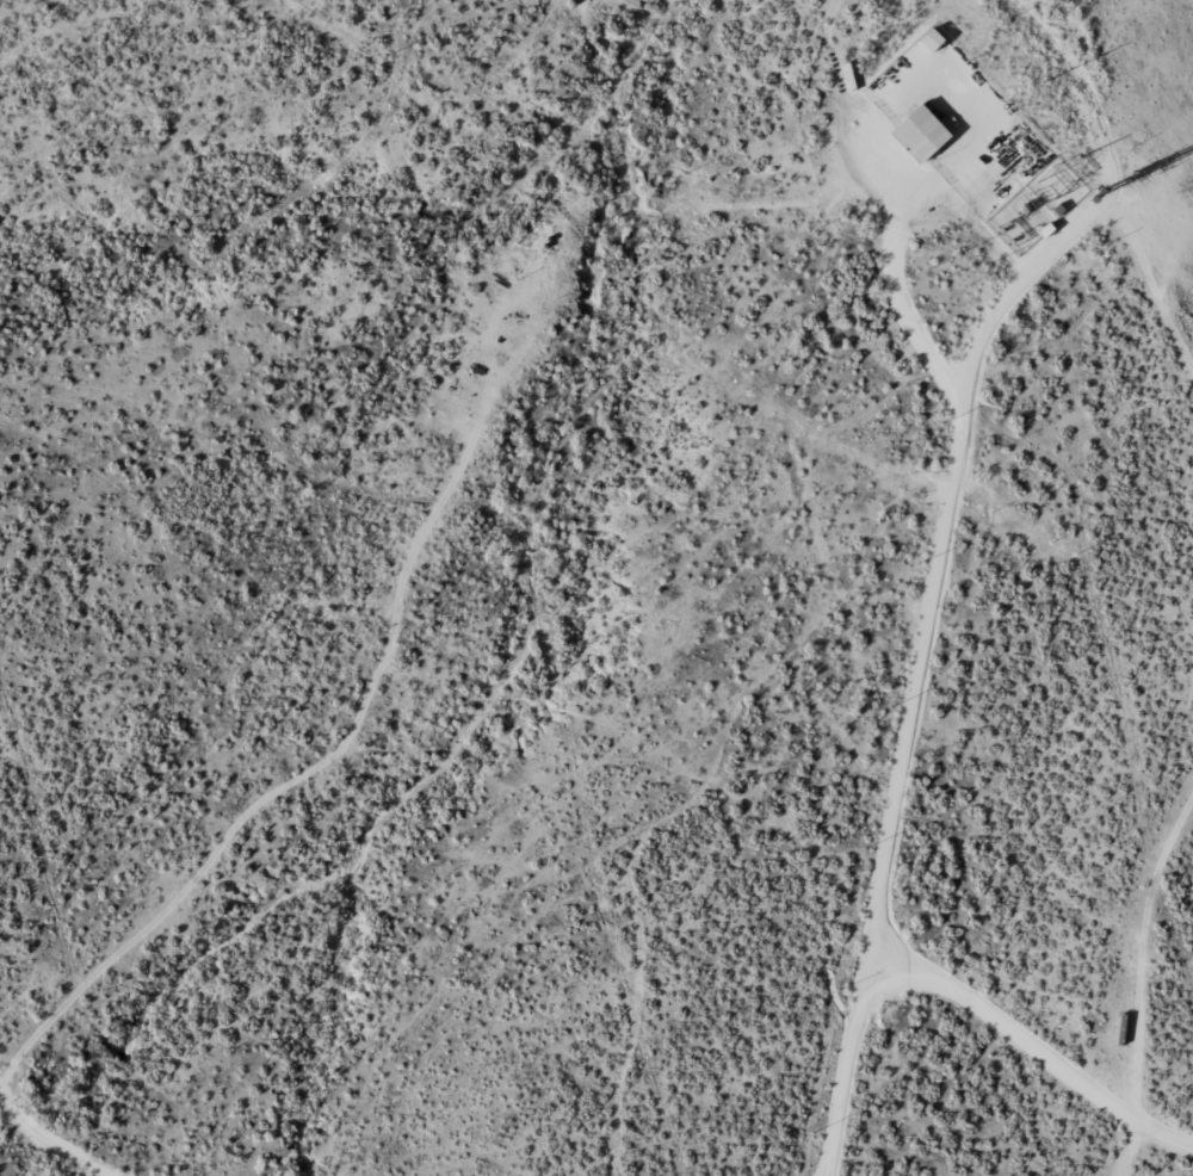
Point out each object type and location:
power tower: (1049, 85)
building: (923, 134)
power tower: (1080, 159)
road: (1126, 172)
power tower: (1137, 179)
power tower: (1100, 194)
power substation: (1043, 208)
road: (1144, 964)
road: (30, 1116)

